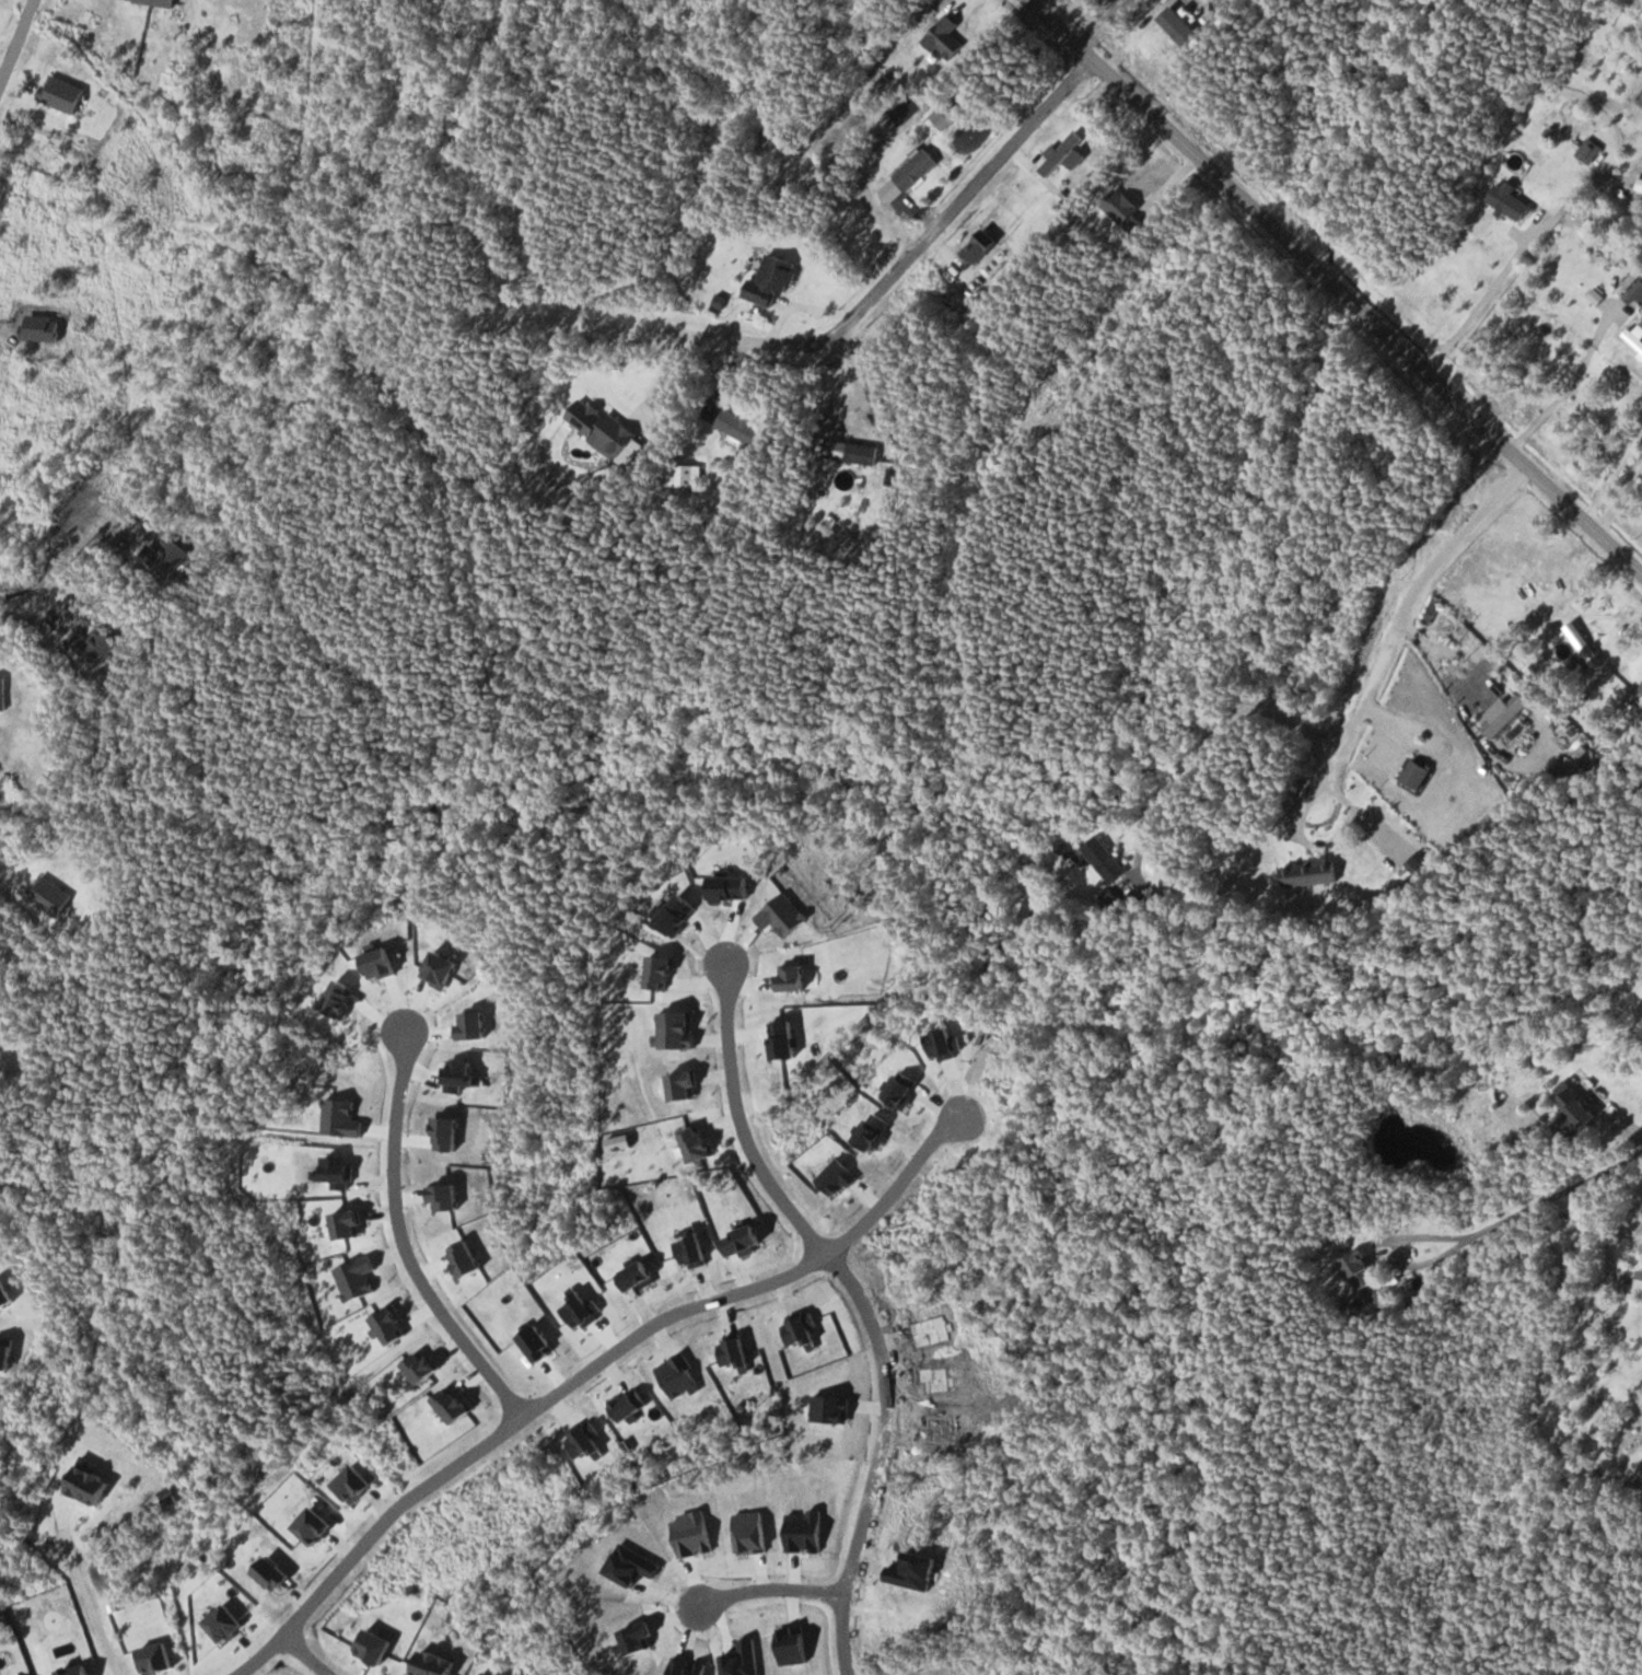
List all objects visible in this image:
road: (18, 43)
building: (943, 118)
building: (1592, 151)
building: (918, 167)
building: (1512, 201)
building: (983, 245)
building: (772, 279)
road: (1334, 284)
road: (847, 326)
building: (1635, 336)
building: (746, 429)
road: (1401, 625)
building: (1588, 643)
building: (1420, 775)
building: (1107, 860)
building: (1314, 873)
building: (3, 1034)
building: (1579, 1108)
road: (731, 1124)
road: (394, 1242)
building: (1370, 1276)
road: (578, 1370)
road: (300, 1651)
road: (1635, 1666)

